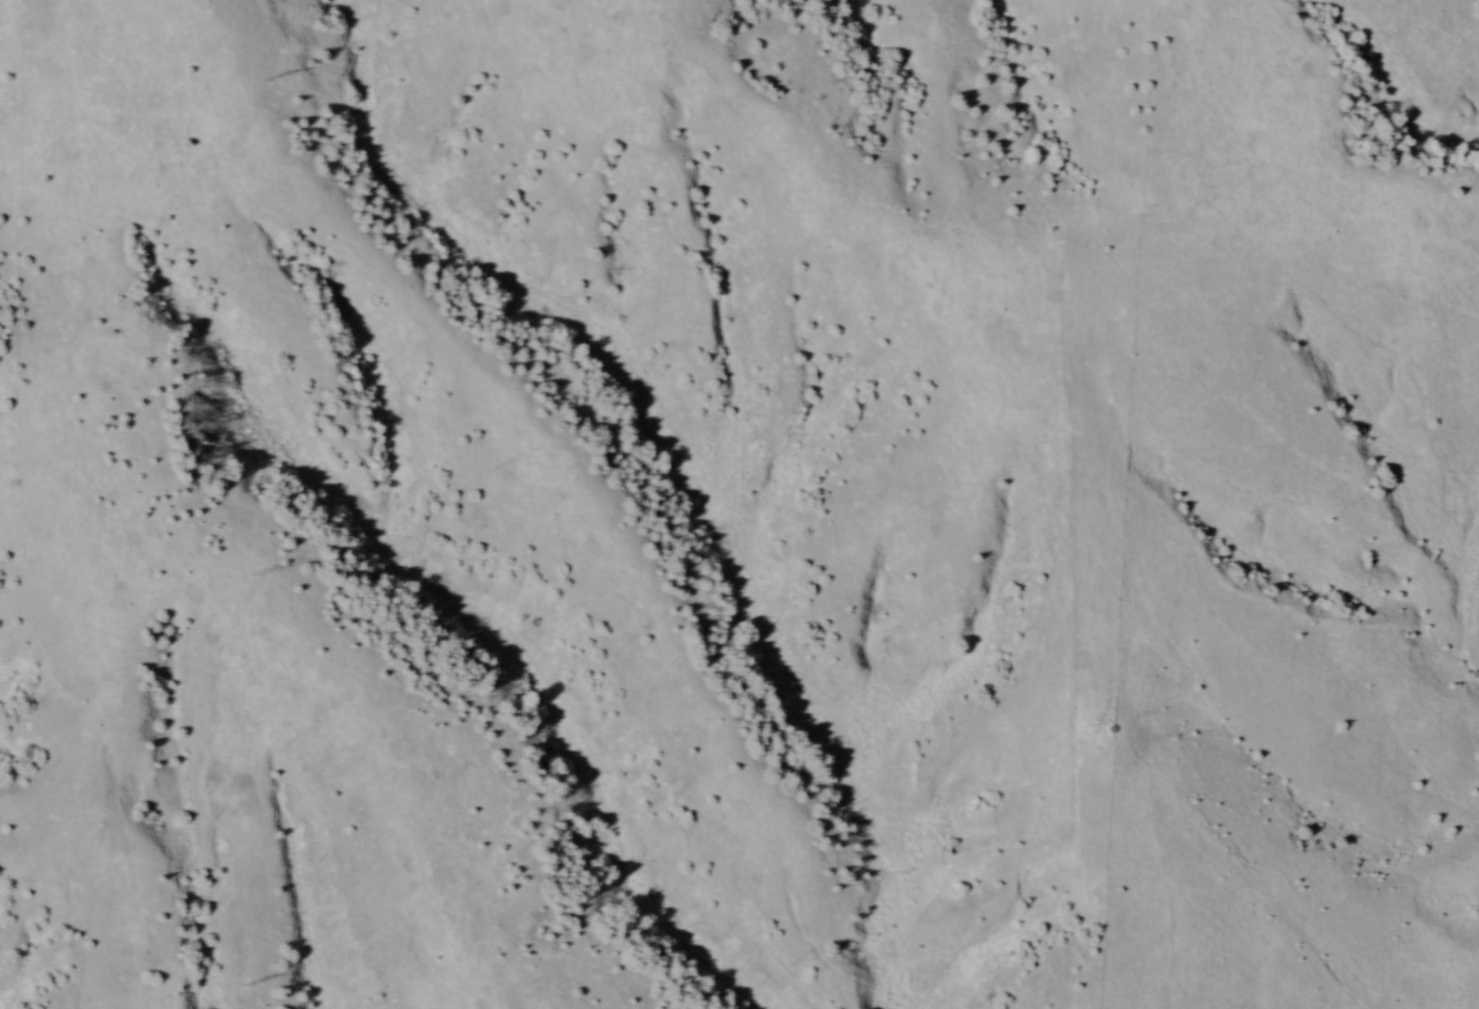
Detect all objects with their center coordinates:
power tower: (258, 83)
power tower: (250, 579)
power tower: (241, 990)

